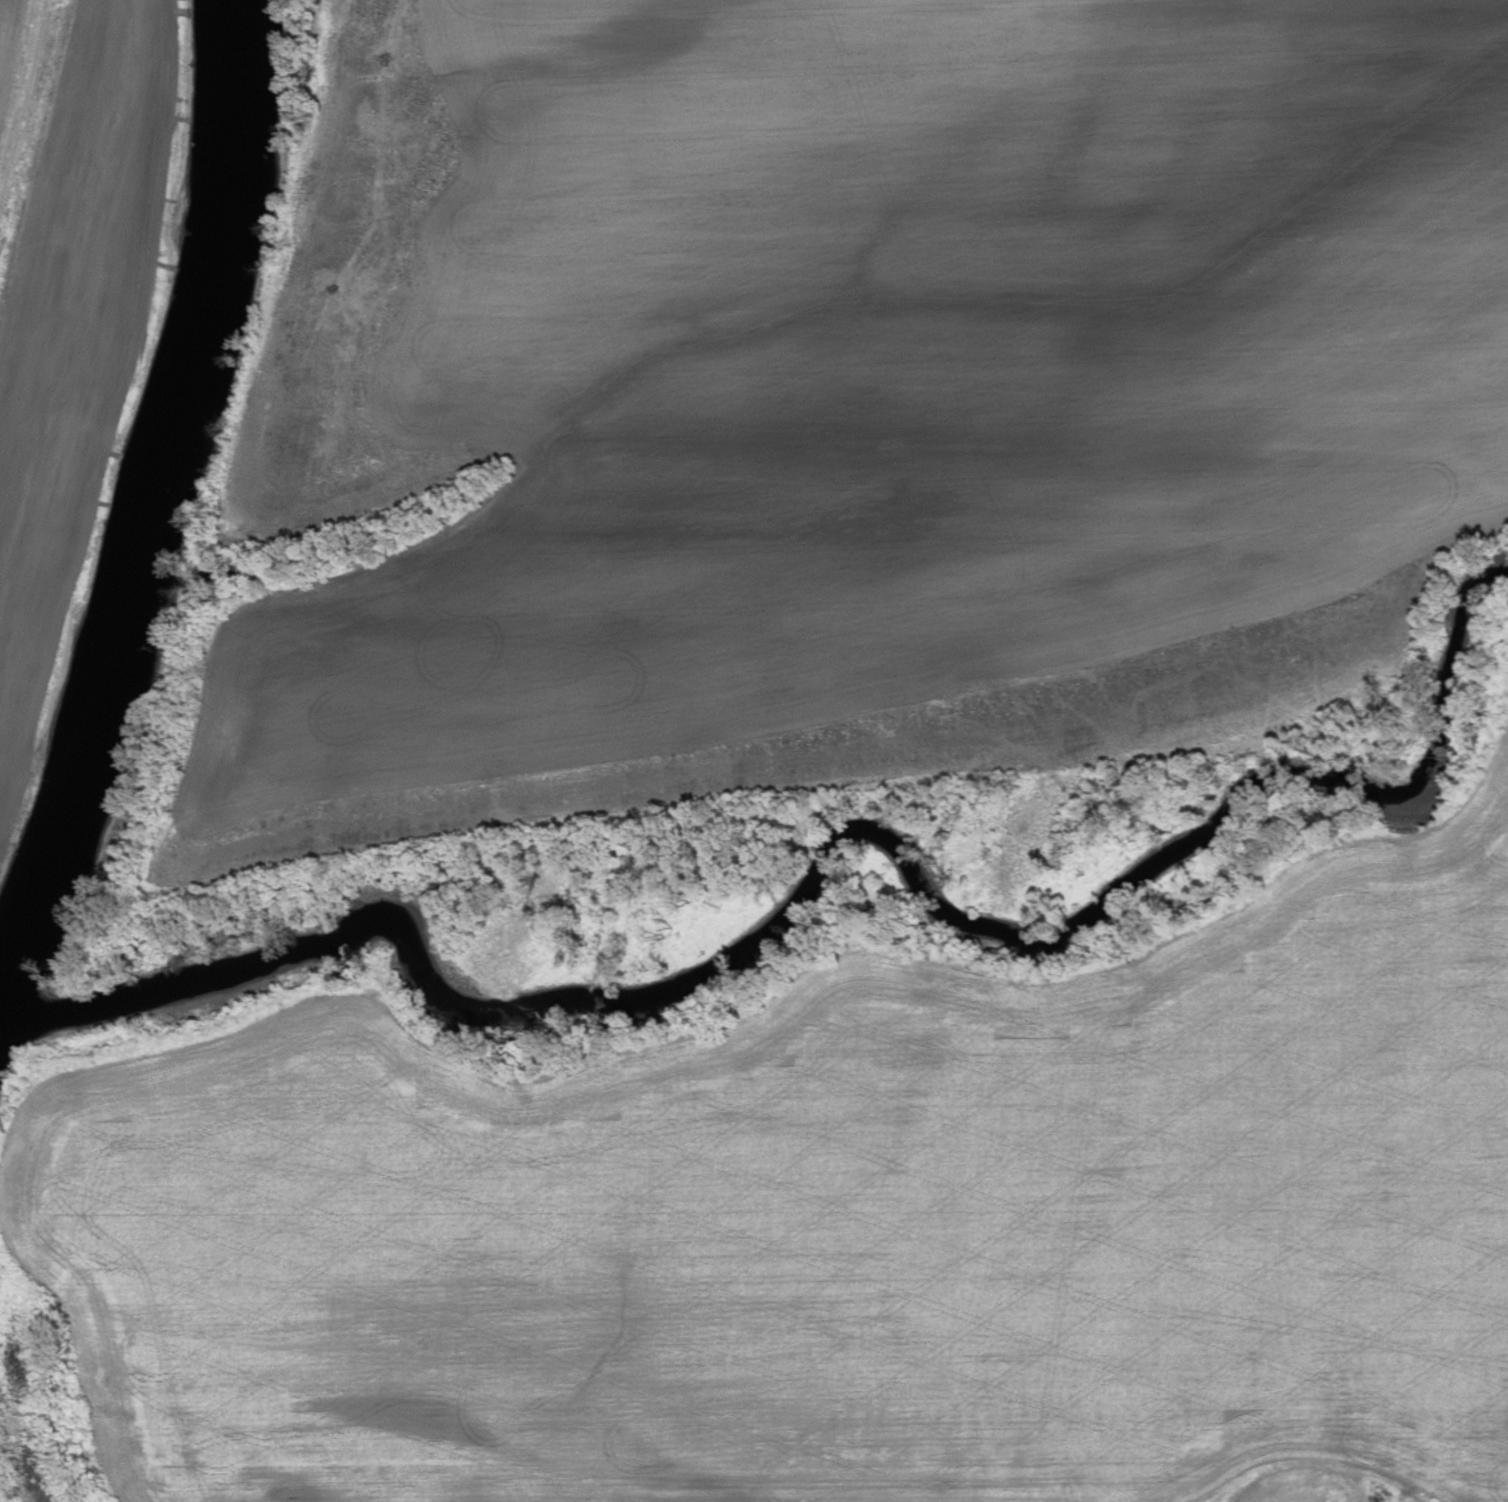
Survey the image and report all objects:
river: (153, 496)
river: (801, 903)

